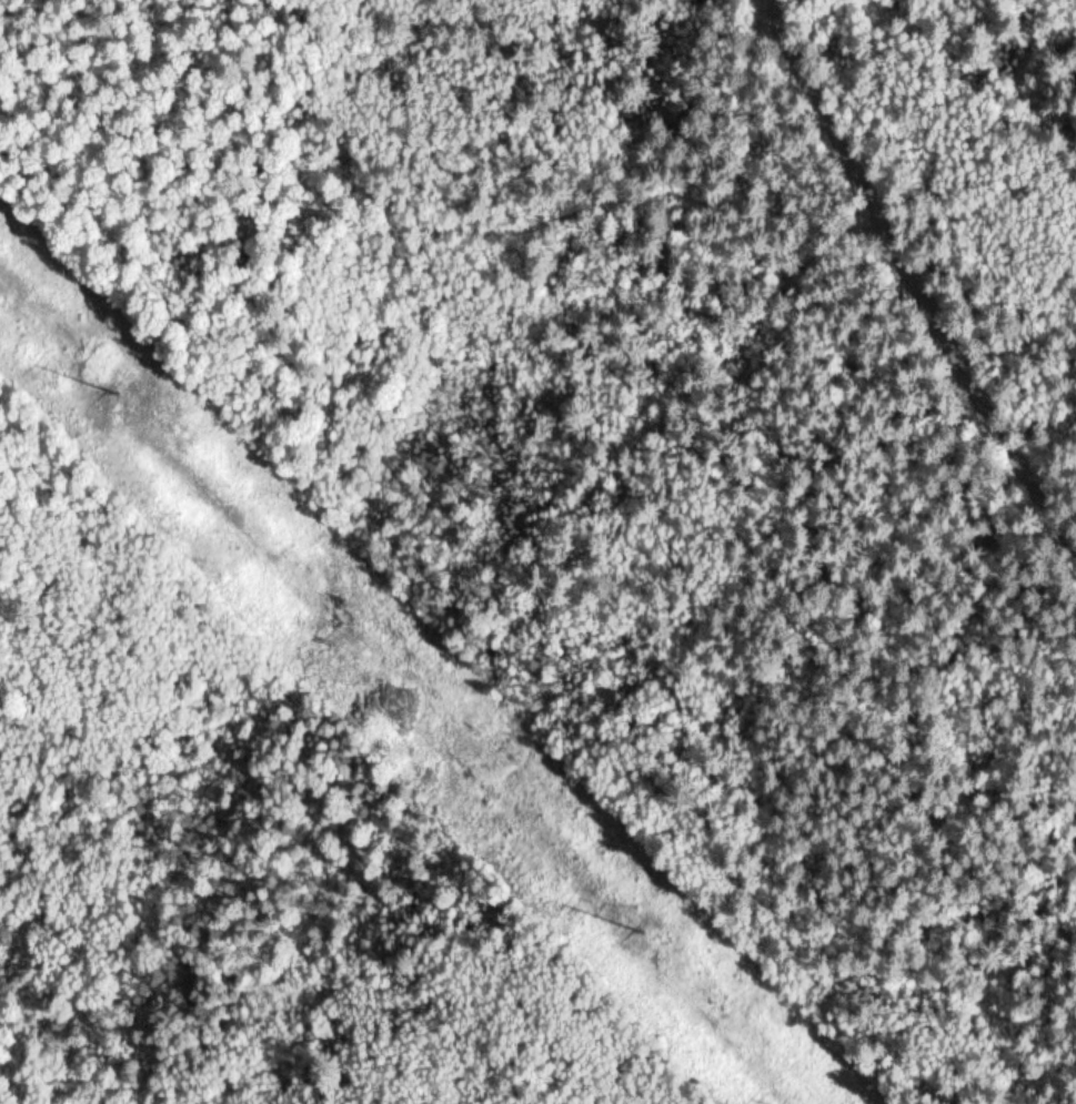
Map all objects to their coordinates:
road: (909, 269)
power tower: (111, 392)
power tower: (648, 932)

